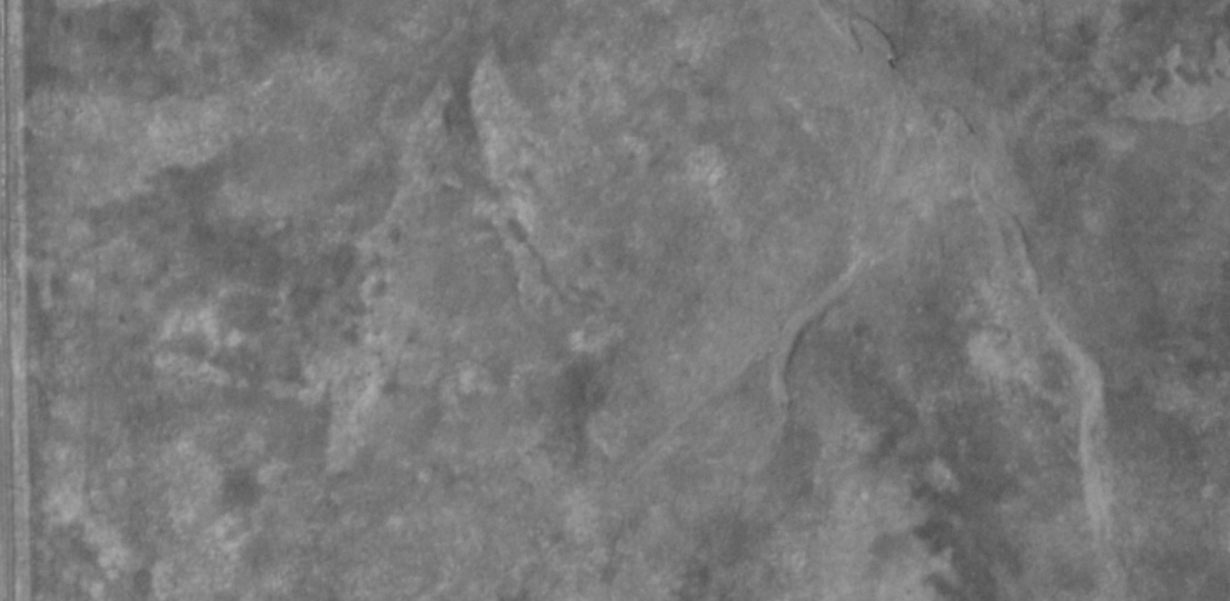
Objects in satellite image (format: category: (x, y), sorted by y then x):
road: (2, 96)

